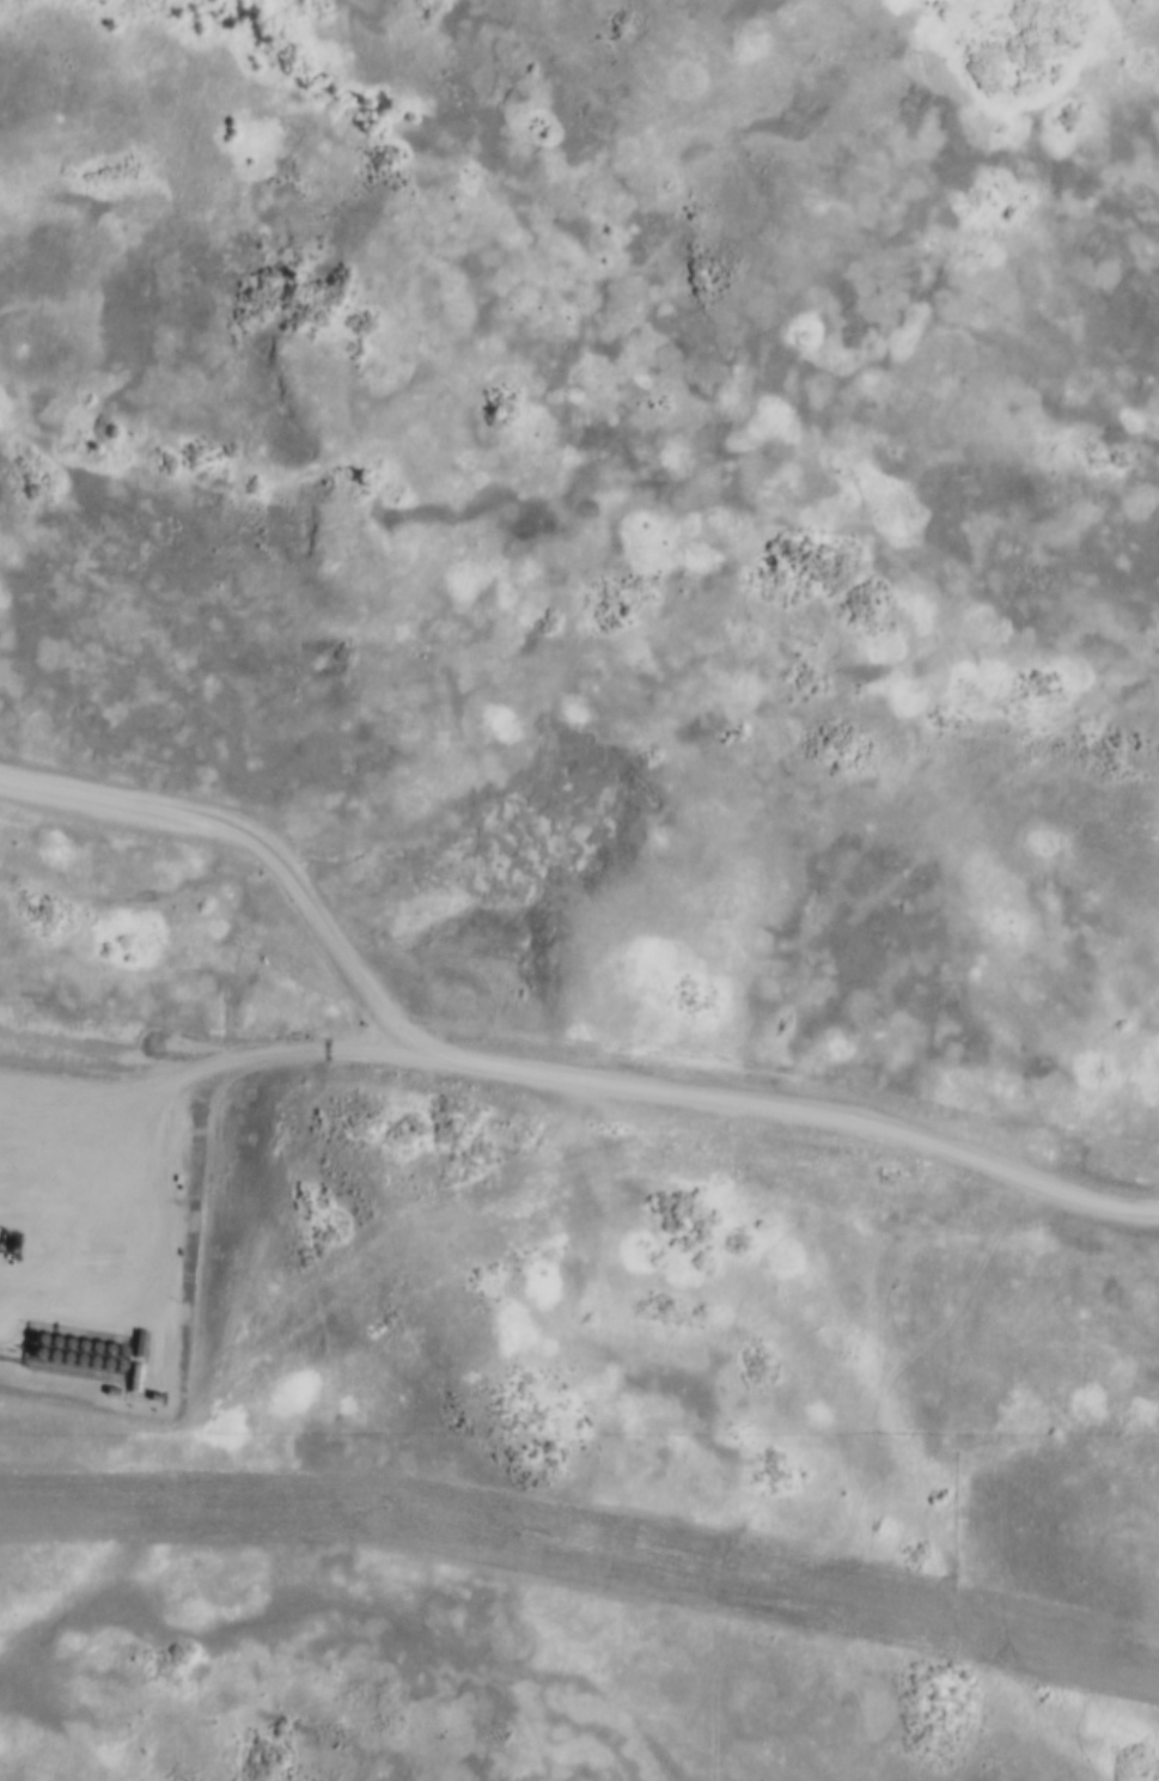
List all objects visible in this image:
petroleum well: (7, 1242)
building: (31, 1341)
storage tank: (31, 1341)
building: (136, 1341)
building: (45, 1344)
storage tank: (45, 1344)
building: (59, 1346)
storage tank: (59, 1346)
building: (72, 1348)
storage tank: (72, 1348)
building: (86, 1349)
storage tank: (86, 1349)
building: (99, 1352)
storage tank: (99, 1352)
building: (114, 1352)
storage tank: (114, 1352)
building: (29, 1356)
storage tank: (29, 1356)
building: (43, 1359)
storage tank: (43, 1359)
building: (57, 1360)
storage tank: (57, 1360)
building: (71, 1362)
storage tank: (71, 1362)
building: (84, 1364)
storage tank: (84, 1364)
building: (98, 1365)
storage tank: (98, 1365)
building: (111, 1367)
storage tank: (111, 1367)
building: (132, 1374)

